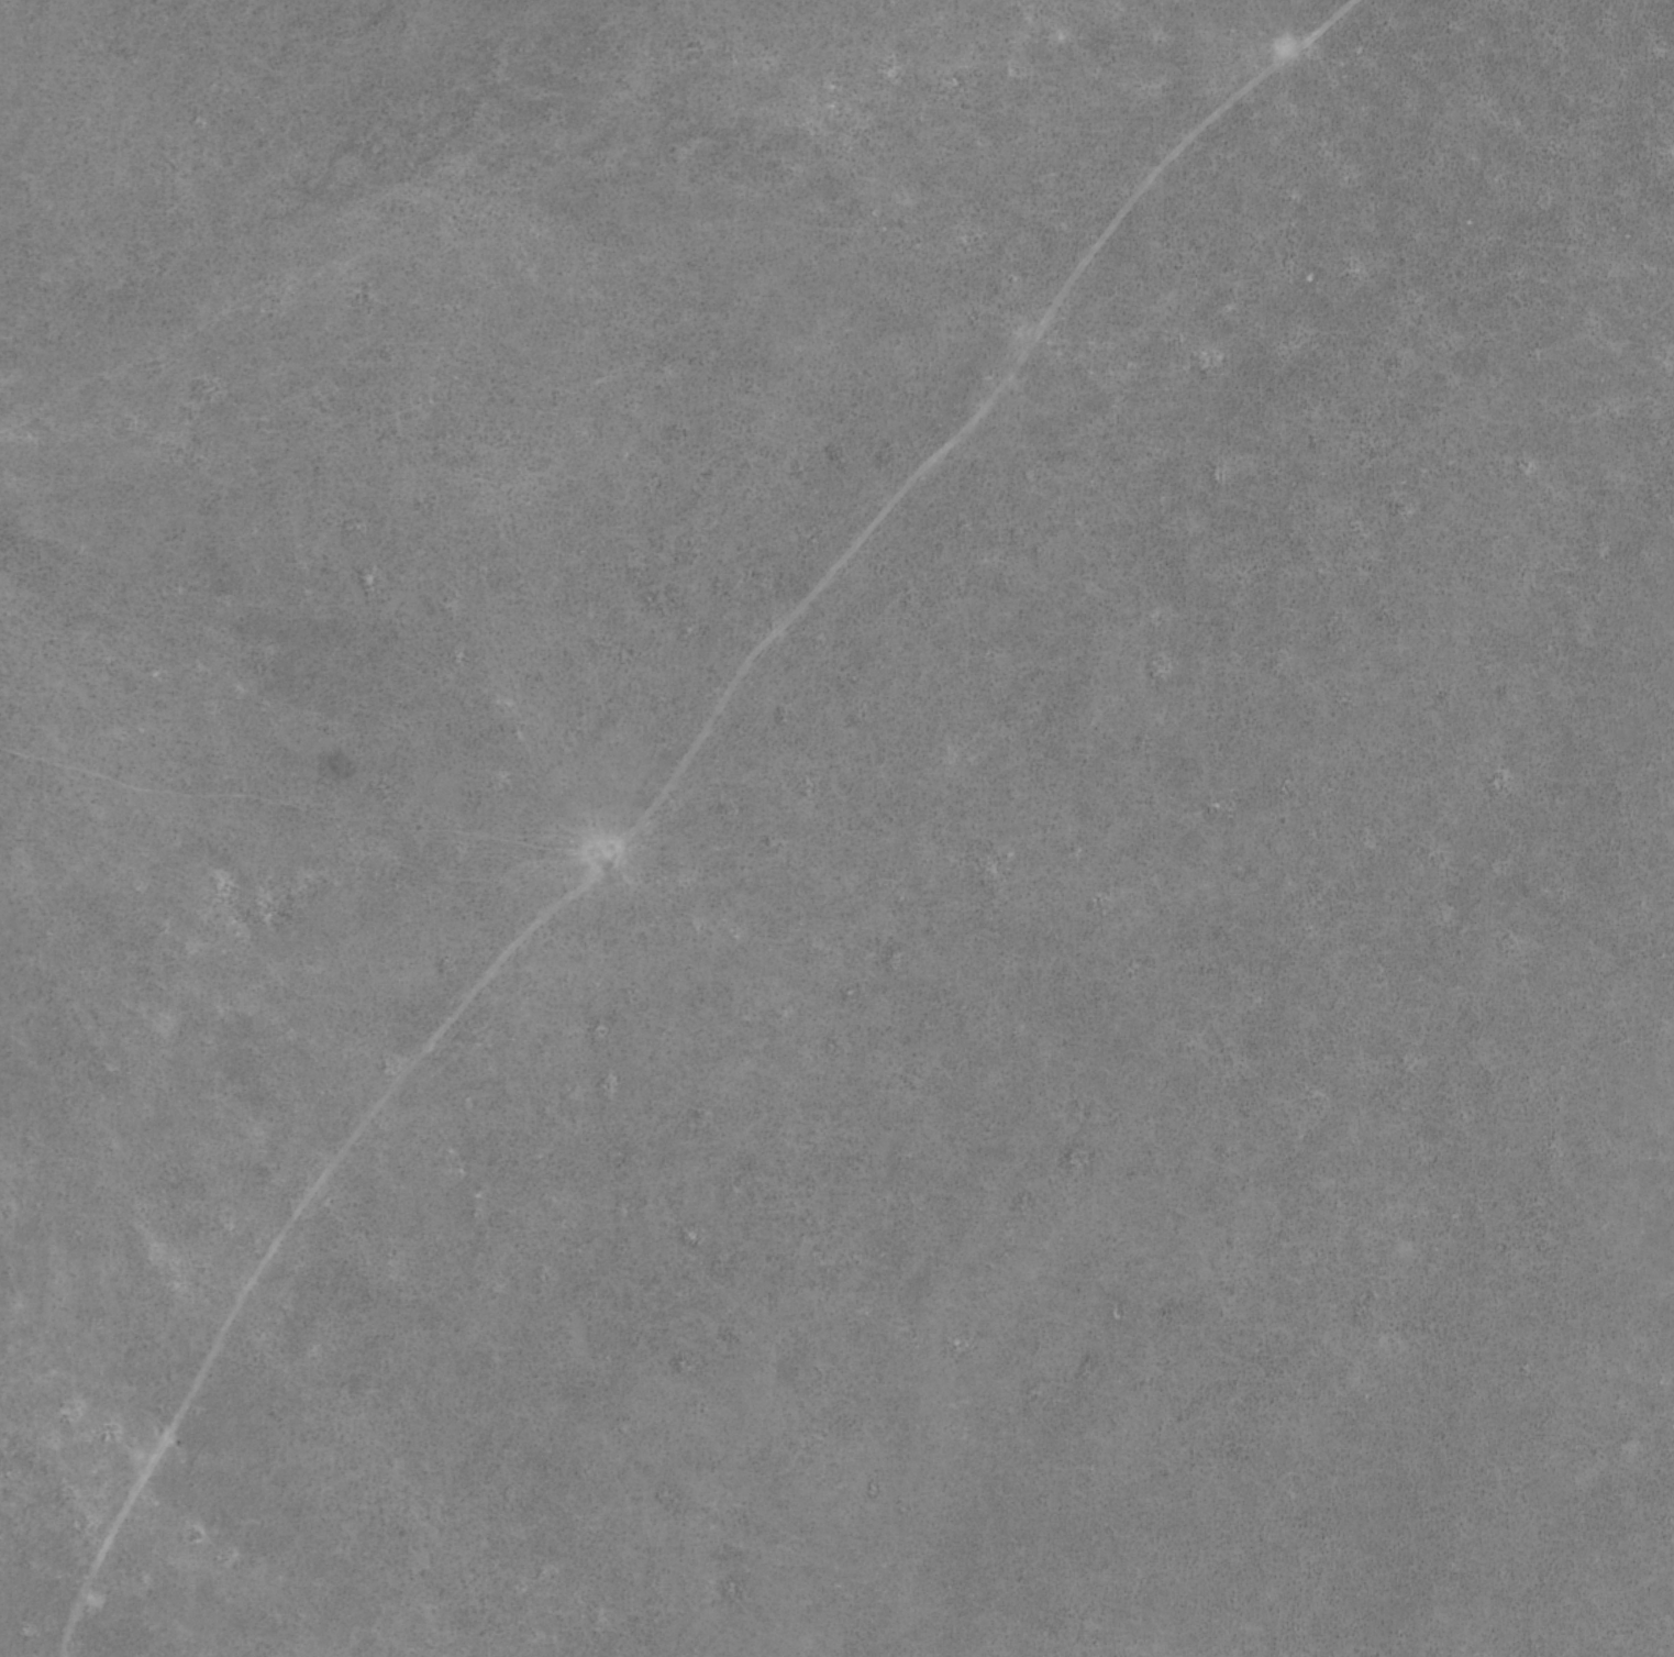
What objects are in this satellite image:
road: (652, 778)

